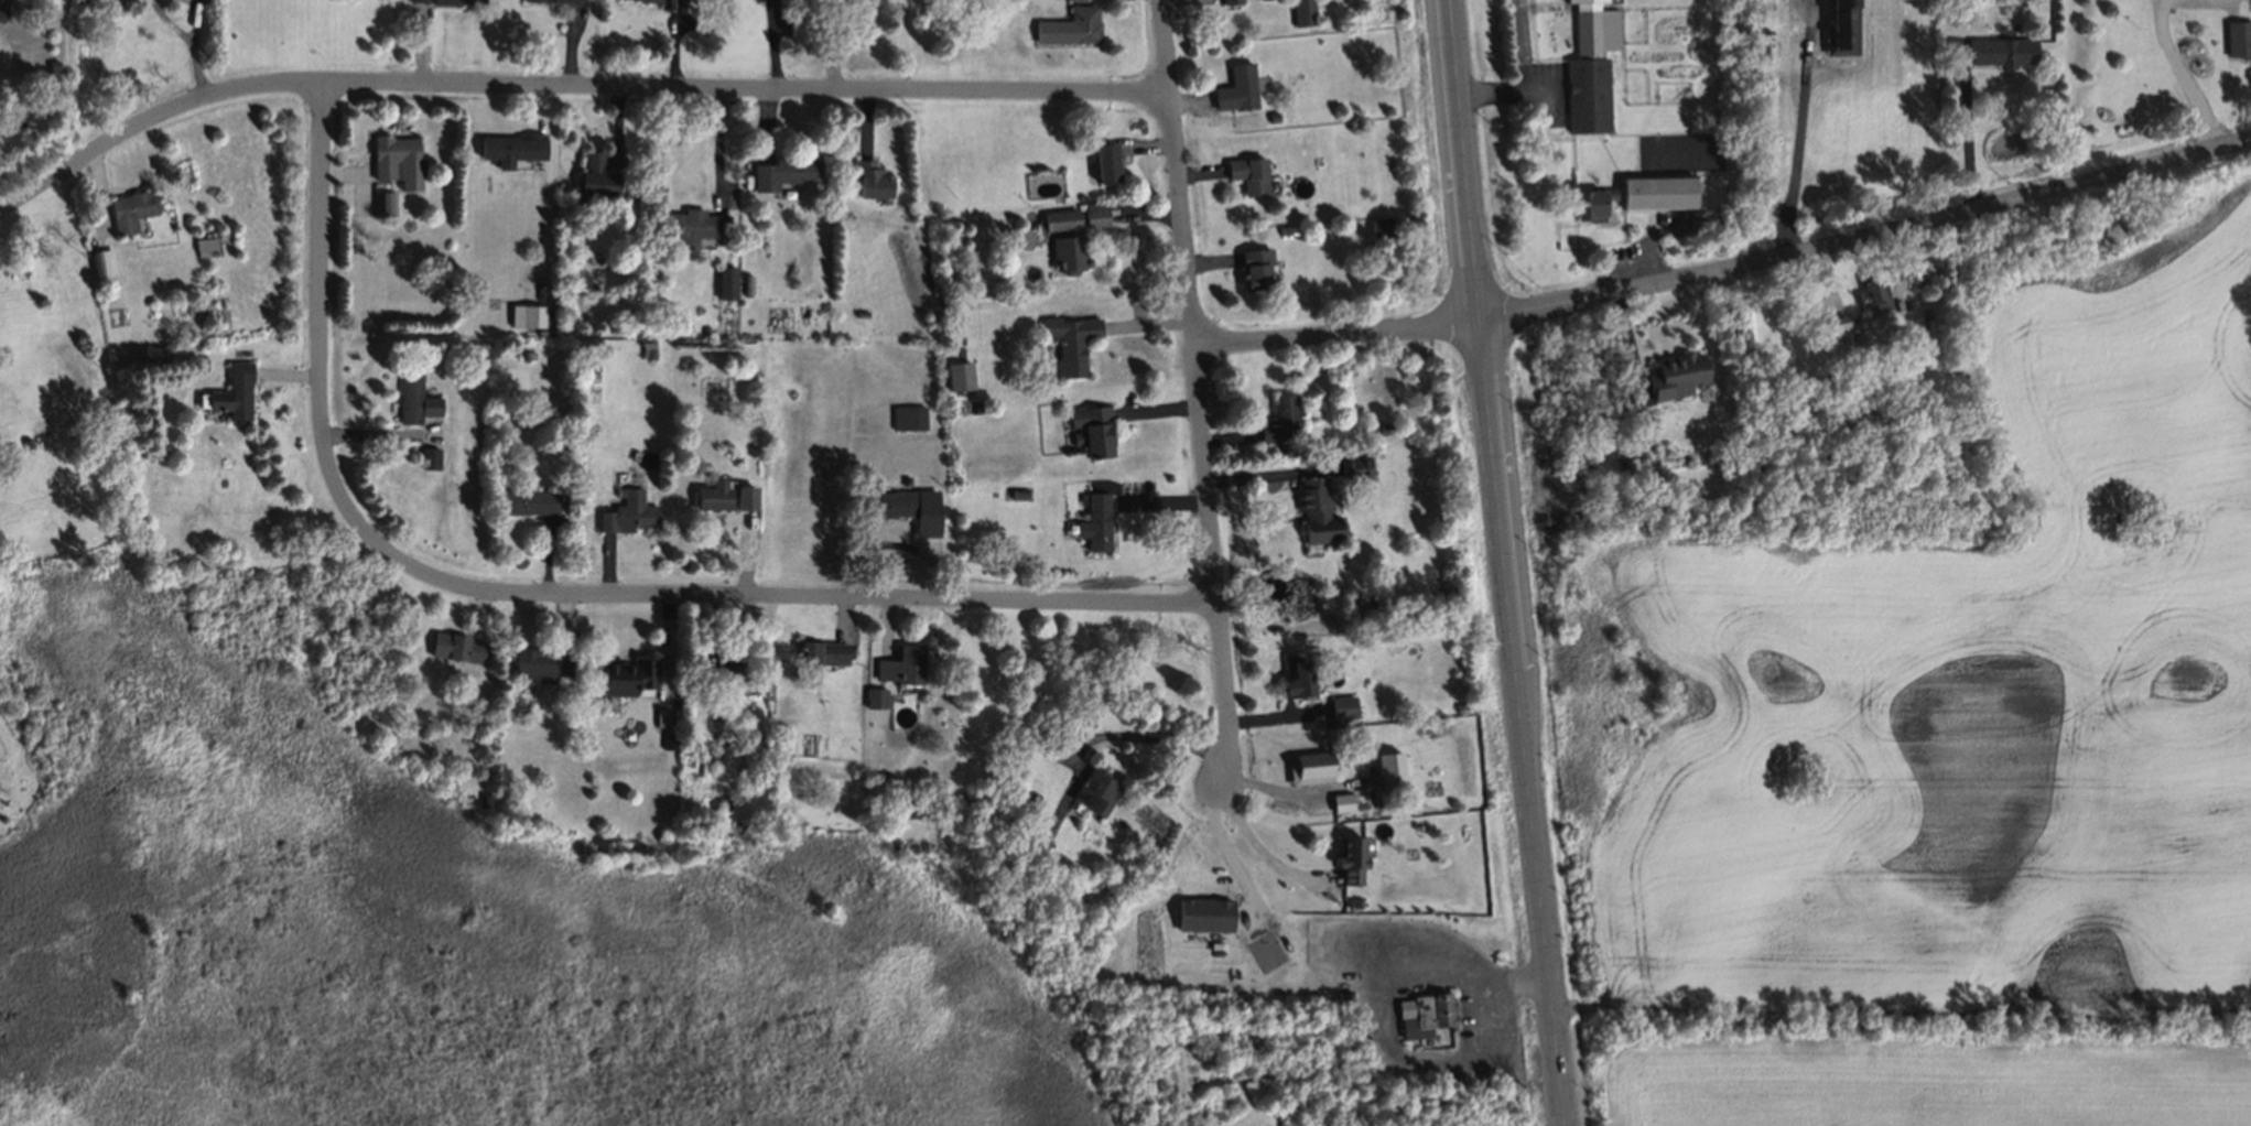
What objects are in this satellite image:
building: (456, 1)
building: (1230, 1)
building: (1301, 11)
building: (1, 12)
road: (195, 15)
road: (169, 22)
building: (1081, 23)
building: (2237, 40)
building: (2001, 50)
building: (53, 66)
road: (196, 66)
building: (1593, 68)
road: (2179, 74)
road: (570, 88)
building: (1235, 88)
building: (1271, 118)
road: (1968, 123)
building: (511, 147)
building: (396, 158)
building: (1104, 162)
building: (782, 172)
building: (595, 174)
building: (1247, 174)
building: (868, 177)
building: (1659, 194)
building: (382, 198)
building: (1588, 202)
building: (129, 209)
building: (1094, 215)
building: (1059, 219)
building: (690, 224)
road: (1866, 228)
building: (1283, 229)
building: (203, 242)
building: (1065, 251)
building: (101, 261)
building: (1255, 266)
building: (1918, 267)
building: (725, 281)
building: (745, 283)
building: (1871, 292)
building: (1925, 312)
building: (531, 314)
building: (703, 328)
building: (1832, 332)
road: (1344, 337)
building: (1073, 343)
building: (522, 350)
building: (649, 350)
road: (321, 358)
building: (199, 360)
building: (957, 375)
building: (1677, 375)
building: (232, 389)
road: (1206, 392)
building: (413, 399)
building: (1312, 400)
building: (974, 404)
building: (907, 416)
building: (1279, 419)
building: (1091, 429)
building: (25, 440)
building: (558, 442)
building: (429, 456)
building: (1352, 466)
building: (905, 477)
building: (1017, 491)
building: (711, 494)
building: (743, 496)
building: (527, 500)
building: (908, 507)
building: (1314, 509)
building: (626, 511)
building: (1093, 520)
road: (1507, 563)
road: (829, 597)
building: (455, 646)
building: (820, 651)
building: (538, 663)
building: (899, 664)
building: (623, 675)
building: (715, 678)
building: (1296, 679)
building: (578, 689)
building: (1460, 703)
building: (1340, 706)
building: (781, 728)
road: (1140, 738)
building: (779, 746)
building: (712, 758)
building: (1094, 790)
building: (1032, 795)
building: (485, 798)
building: (911, 798)
building: (724, 801)
building: (651, 830)
building: (695, 833)
building: (1033, 845)
road: (1257, 845)
building: (1348, 859)
building: (994, 862)
building: (1355, 901)
building: (1068, 983)
building: (1342, 994)
road: (1376, 1015)
building: (1427, 1017)

